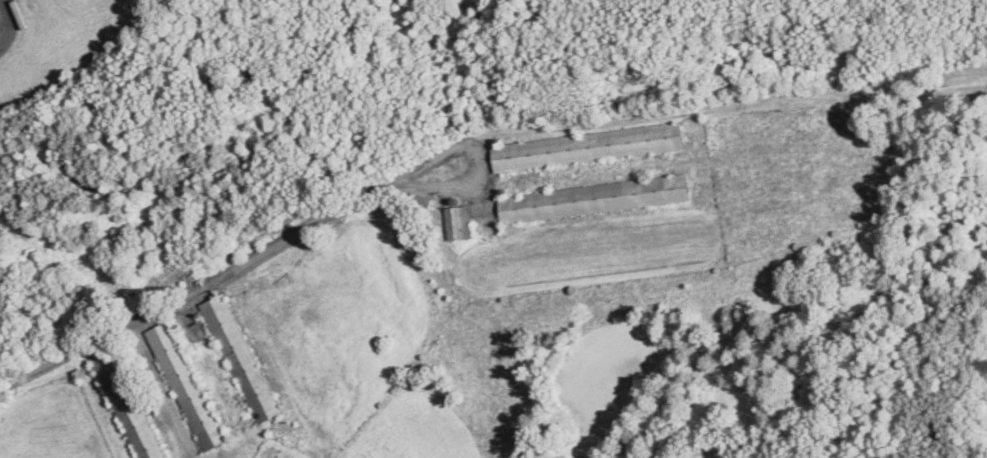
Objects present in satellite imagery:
road: (10, 22)
building: (587, 146)
building: (596, 197)
building: (460, 221)
building: (242, 357)
road: (56, 358)
building: (188, 385)
building: (130, 411)

